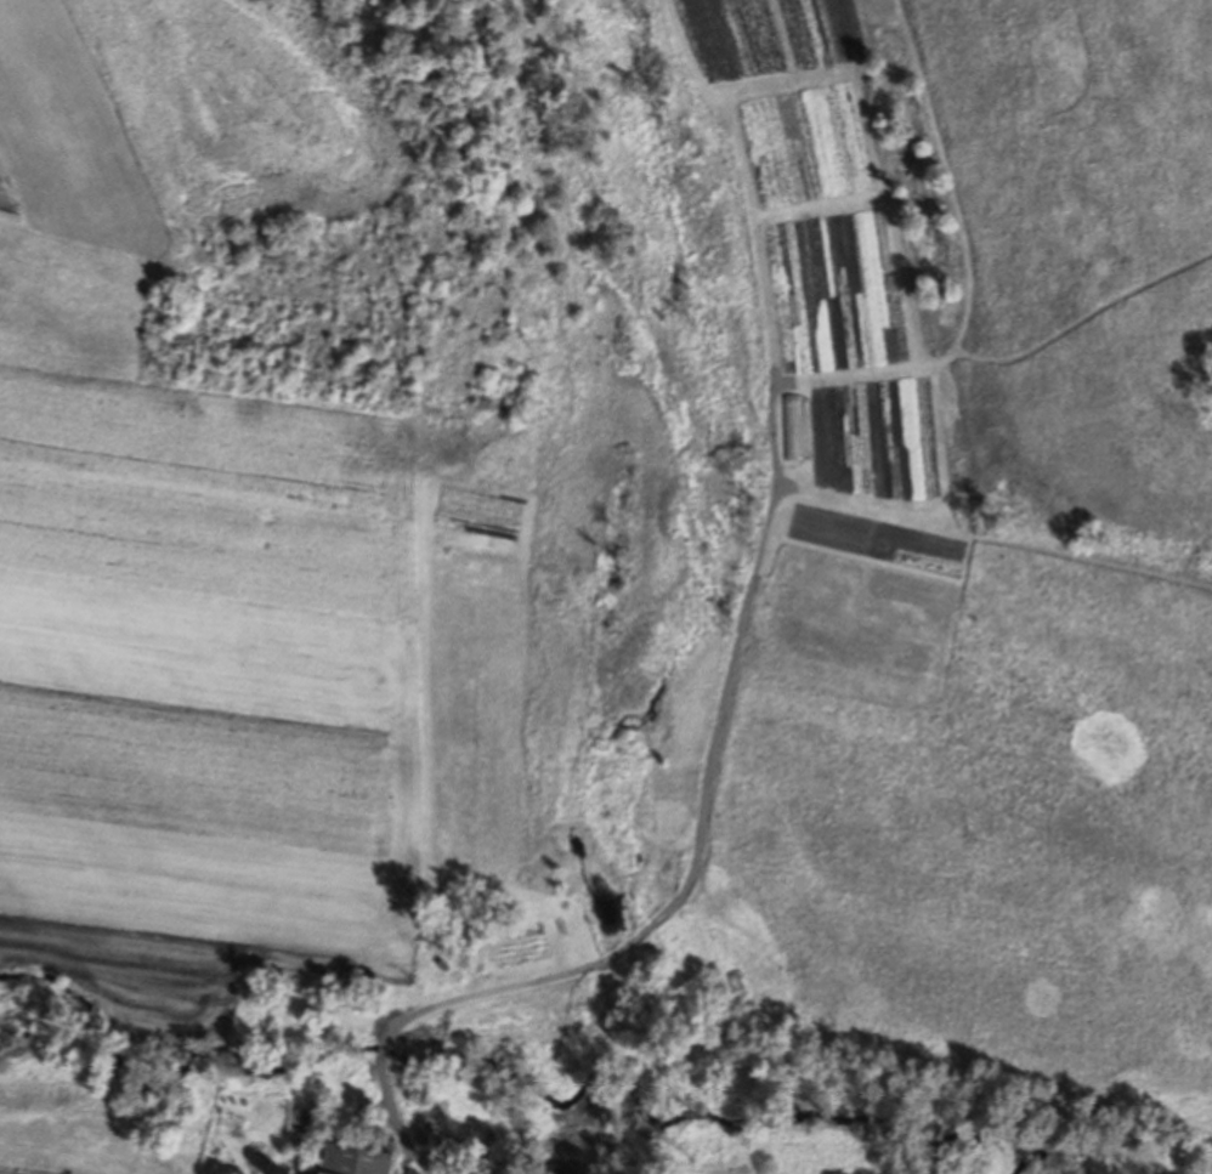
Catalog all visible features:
road: (769, 546)
road: (383, 1048)
road: (396, 1117)
building: (311, 1124)
building: (425, 1132)
building: (355, 1161)
building: (410, 1173)

